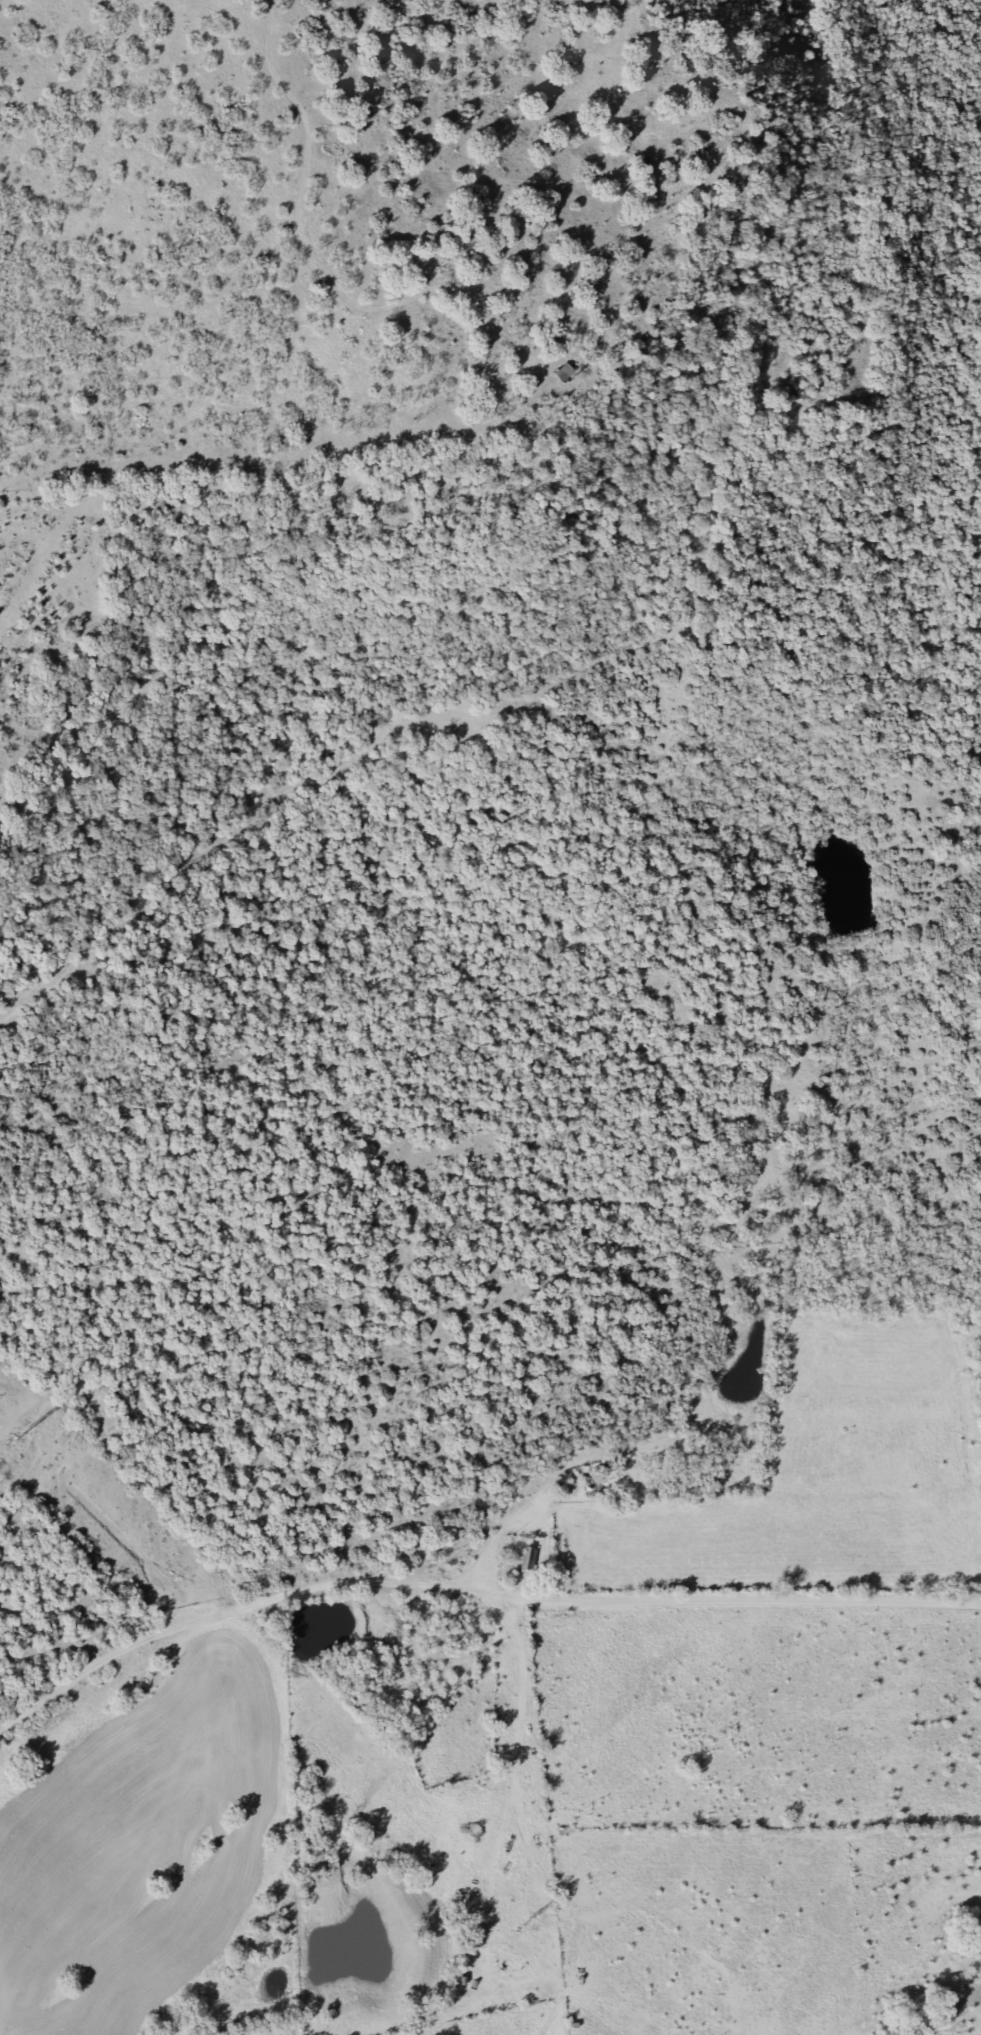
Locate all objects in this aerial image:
road: (494, 1542)
building: (524, 1558)
road: (470, 1588)
road: (520, 1733)

